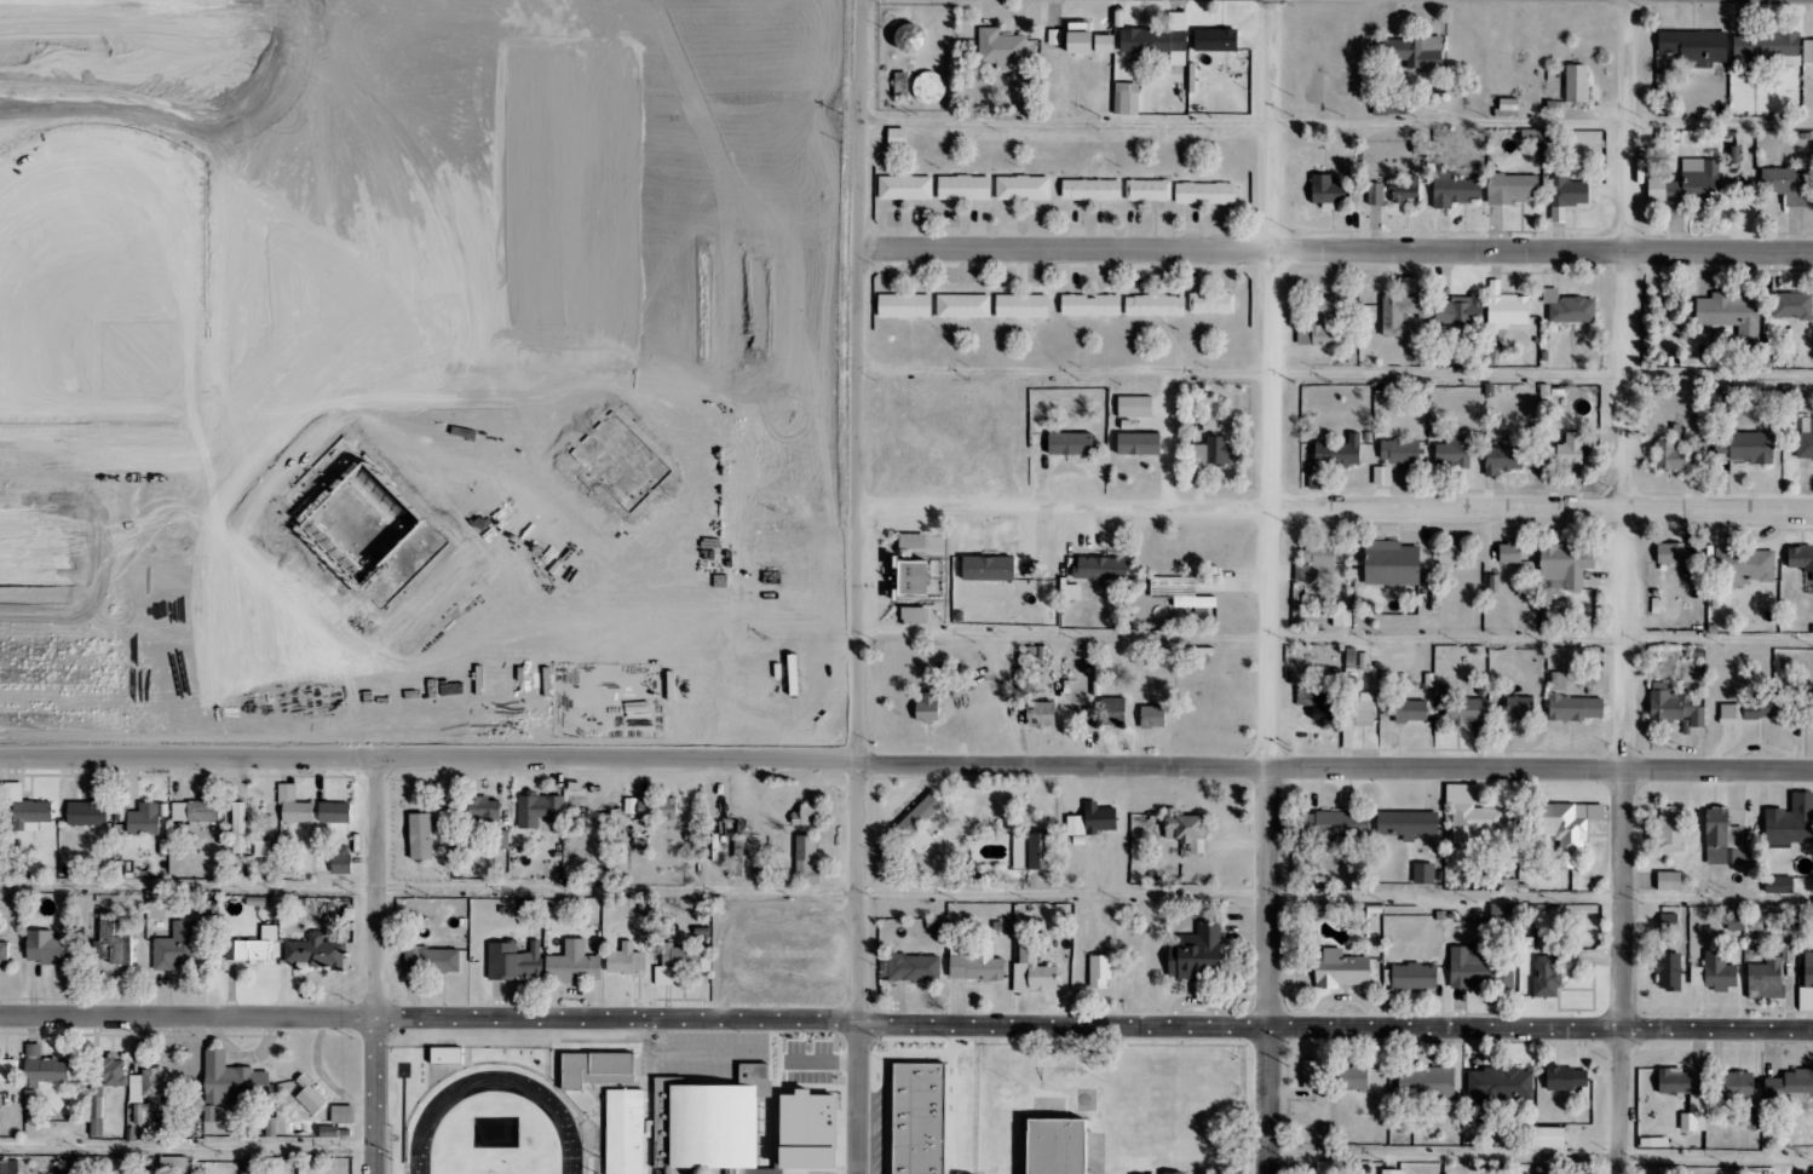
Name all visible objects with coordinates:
building: (914, 39)
building: (1159, 39)
building: (1090, 40)
building: (1218, 40)
building: (1696, 47)
building: (1001, 48)
building: (1769, 48)
building: (1415, 51)
building: (1808, 51)
building: (1578, 84)
building: (931, 88)
building: (1128, 98)
building: (1388, 105)
building: (1509, 108)
road: (1337, 123)
building: (898, 137)
building: (1688, 184)
building: (1786, 184)
building: (907, 188)
building: (966, 188)
building: (1024, 188)
building: (1512, 189)
building: (1093, 190)
building: (1149, 190)
building: (1456, 190)
building: (1329, 191)
building: (1405, 191)
building: (1205, 194)
building: (1376, 194)
building: (1566, 196)
road: (1336, 248)
building: (1213, 303)
building: (1092, 305)
building: (905, 306)
building: (963, 306)
building: (1023, 306)
building: (1156, 306)
building: (1792, 306)
building: (1570, 307)
building: (1461, 310)
building: (1510, 311)
building: (1402, 313)
building: (1733, 316)
building: (1320, 322)
road: (1335, 381)
building: (1136, 407)
building: (1803, 442)
building: (1069, 444)
building: (1139, 444)
building: (1746, 447)
building: (1675, 449)
building: (1211, 451)
building: (1455, 451)
building: (1400, 453)
building: (1569, 453)
building: (1334, 459)
building: (1504, 459)
building: (1382, 476)
road: (1335, 508)
building: (913, 541)
building: (1510, 553)
building: (1671, 553)
building: (1451, 556)
building: (1801, 559)
building: (1318, 560)
building: (1393, 563)
building: (1567, 564)
building: (1745, 565)
building: (1103, 568)
building: (990, 569)
building: (916, 579)
road: (1623, 586)
road: (851, 587)
road: (1271, 587)
building: (1182, 594)
building: (916, 614)
building: (1342, 617)
road: (1330, 640)
building: (1559, 681)
building: (1359, 701)
building: (1320, 702)
building: (928, 707)
building: (1673, 707)
building: (1519, 708)
building: (1576, 708)
building: (1463, 709)
building: (1112, 712)
building: (1411, 712)
building: (1760, 712)
building: (1042, 714)
building: (1153, 717)
road: (905, 762)
building: (294, 805)
building: (652, 807)
building: (485, 810)
building: (540, 810)
building: (28, 811)
building: (195, 811)
building: (335, 812)
building: (87, 813)
building: (1473, 813)
building: (807, 816)
building: (144, 819)
building: (1094, 821)
building: (921, 822)
building: (1791, 822)
building: (1408, 824)
building: (1337, 825)
building: (1186, 829)
building: (1562, 829)
building: (1670, 830)
building: (238, 834)
building: (421, 835)
building: (501, 839)
building: (1725, 839)
building: (1035, 852)
building: (807, 861)
building: (341, 863)
building: (1424, 874)
building: (1670, 881)
building: (1780, 886)
road: (907, 892)
building: (591, 909)
building: (524, 910)
building: (1669, 922)
building: (1736, 922)
building: (113, 940)
building: (45, 946)
building: (175, 946)
building: (243, 948)
building: (4, 951)
building: (316, 951)
building: (1199, 955)
building: (691, 960)
building: (975, 961)
building: (441, 962)
building: (632, 962)
parking lot: (790, 963)
building: (524, 965)
road: (376, 966)
building: (583, 968)
building: (915, 968)
building: (1038, 969)
building: (1343, 969)
building: (1481, 969)
building: (1669, 971)
building: (1808, 971)
building: (1100, 972)
building: (1720, 972)
building: (1416, 977)
building: (1546, 977)
building: (1767, 979)
road: (907, 1022)
building: (457, 1058)
building: (44, 1067)
building: (604, 1069)
building: (8, 1070)
building: (1317, 1076)
building: (1356, 1078)
building: (1569, 1078)
building: (1676, 1081)
building: (234, 1082)
building: (1428, 1082)
building: (1501, 1086)
building: (1739, 1086)
track: (505, 1087)
building: (1791, 1089)
building: (102, 1092)
building: (146, 1092)
building: (311, 1095)
stadium: (490, 1109)
building: (666, 1110)
building: (209, 1112)
building: (343, 1113)
building: (1694, 1115)
building: (921, 1118)
building: (1752, 1121)
building: (720, 1123)
building: (271, 1126)
building: (813, 1130)
building: (635, 1133)
building: (1553, 1138)
building: (1069, 1145)
road: (188, 1150)
road: (1541, 1156)
building: (173, 1164)
building: (8, 1167)
building: (1546, 1170)
building: (1326, 1172)
building: (1392, 1172)
building: (1175, 1173)
building: (1583, 1173)
building: (1801, 1173)

